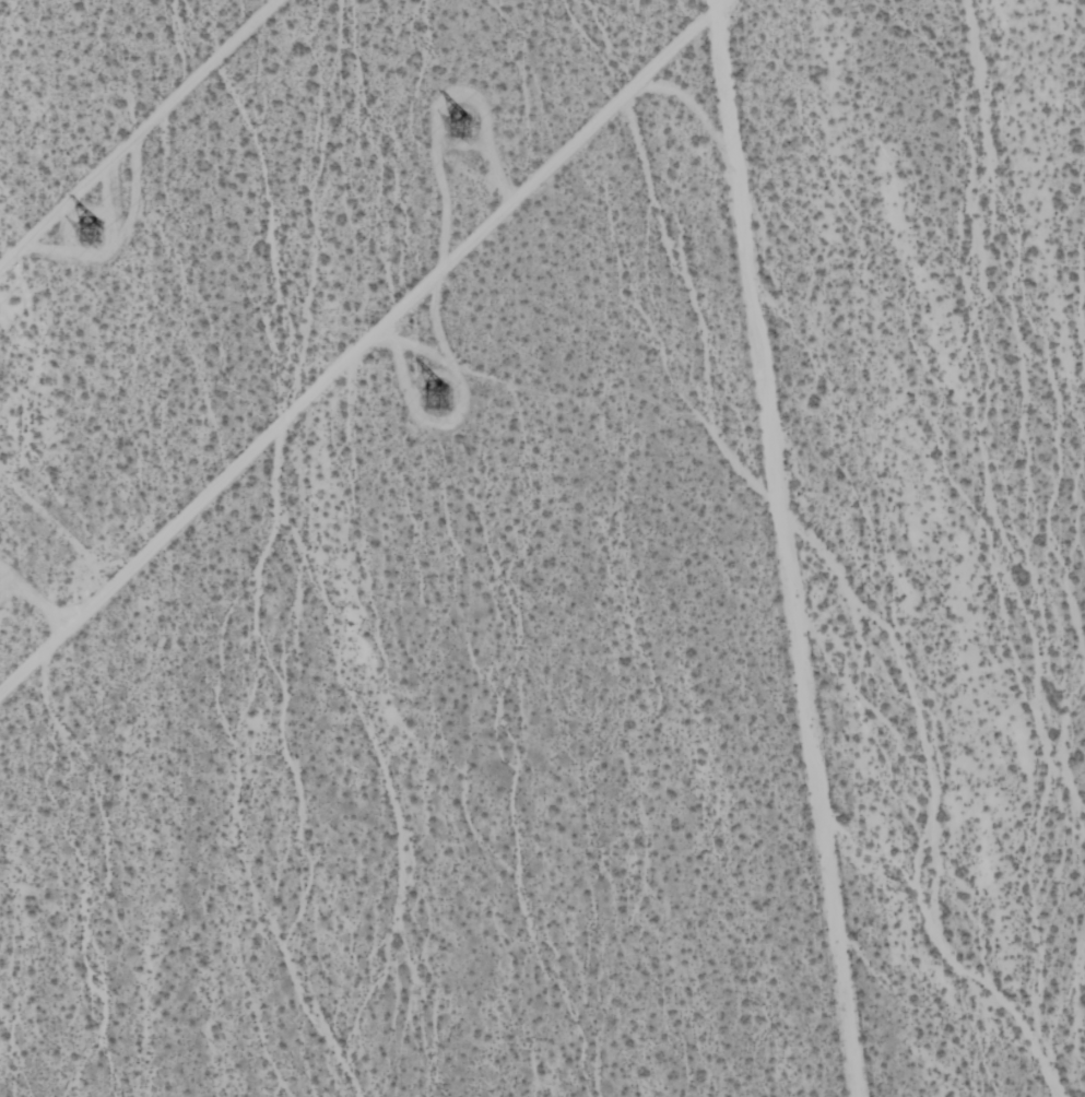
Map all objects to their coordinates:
power tower: (465, 120)
power tower: (99, 232)
road: (361, 345)
power tower: (441, 400)

